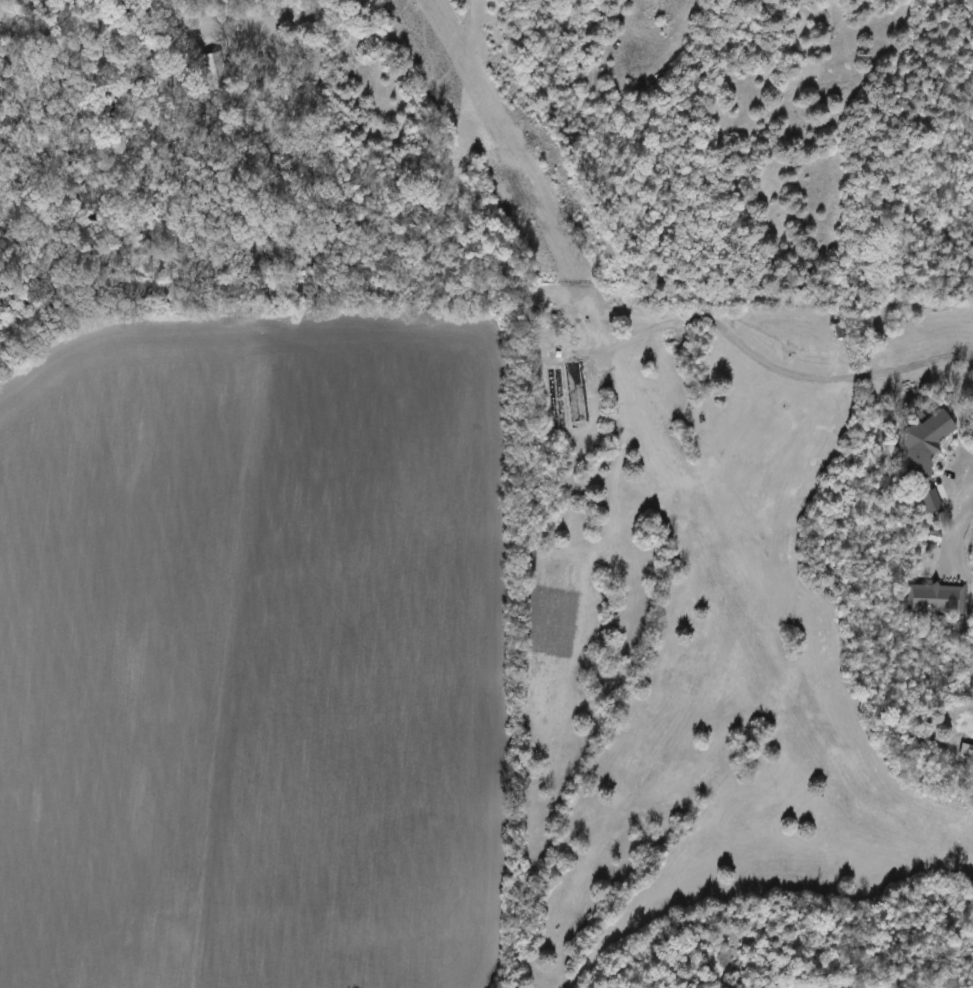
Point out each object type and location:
building: (841, 341)
road: (788, 370)
building: (578, 410)
building: (928, 442)
road: (952, 522)
building: (936, 598)
building: (970, 749)

